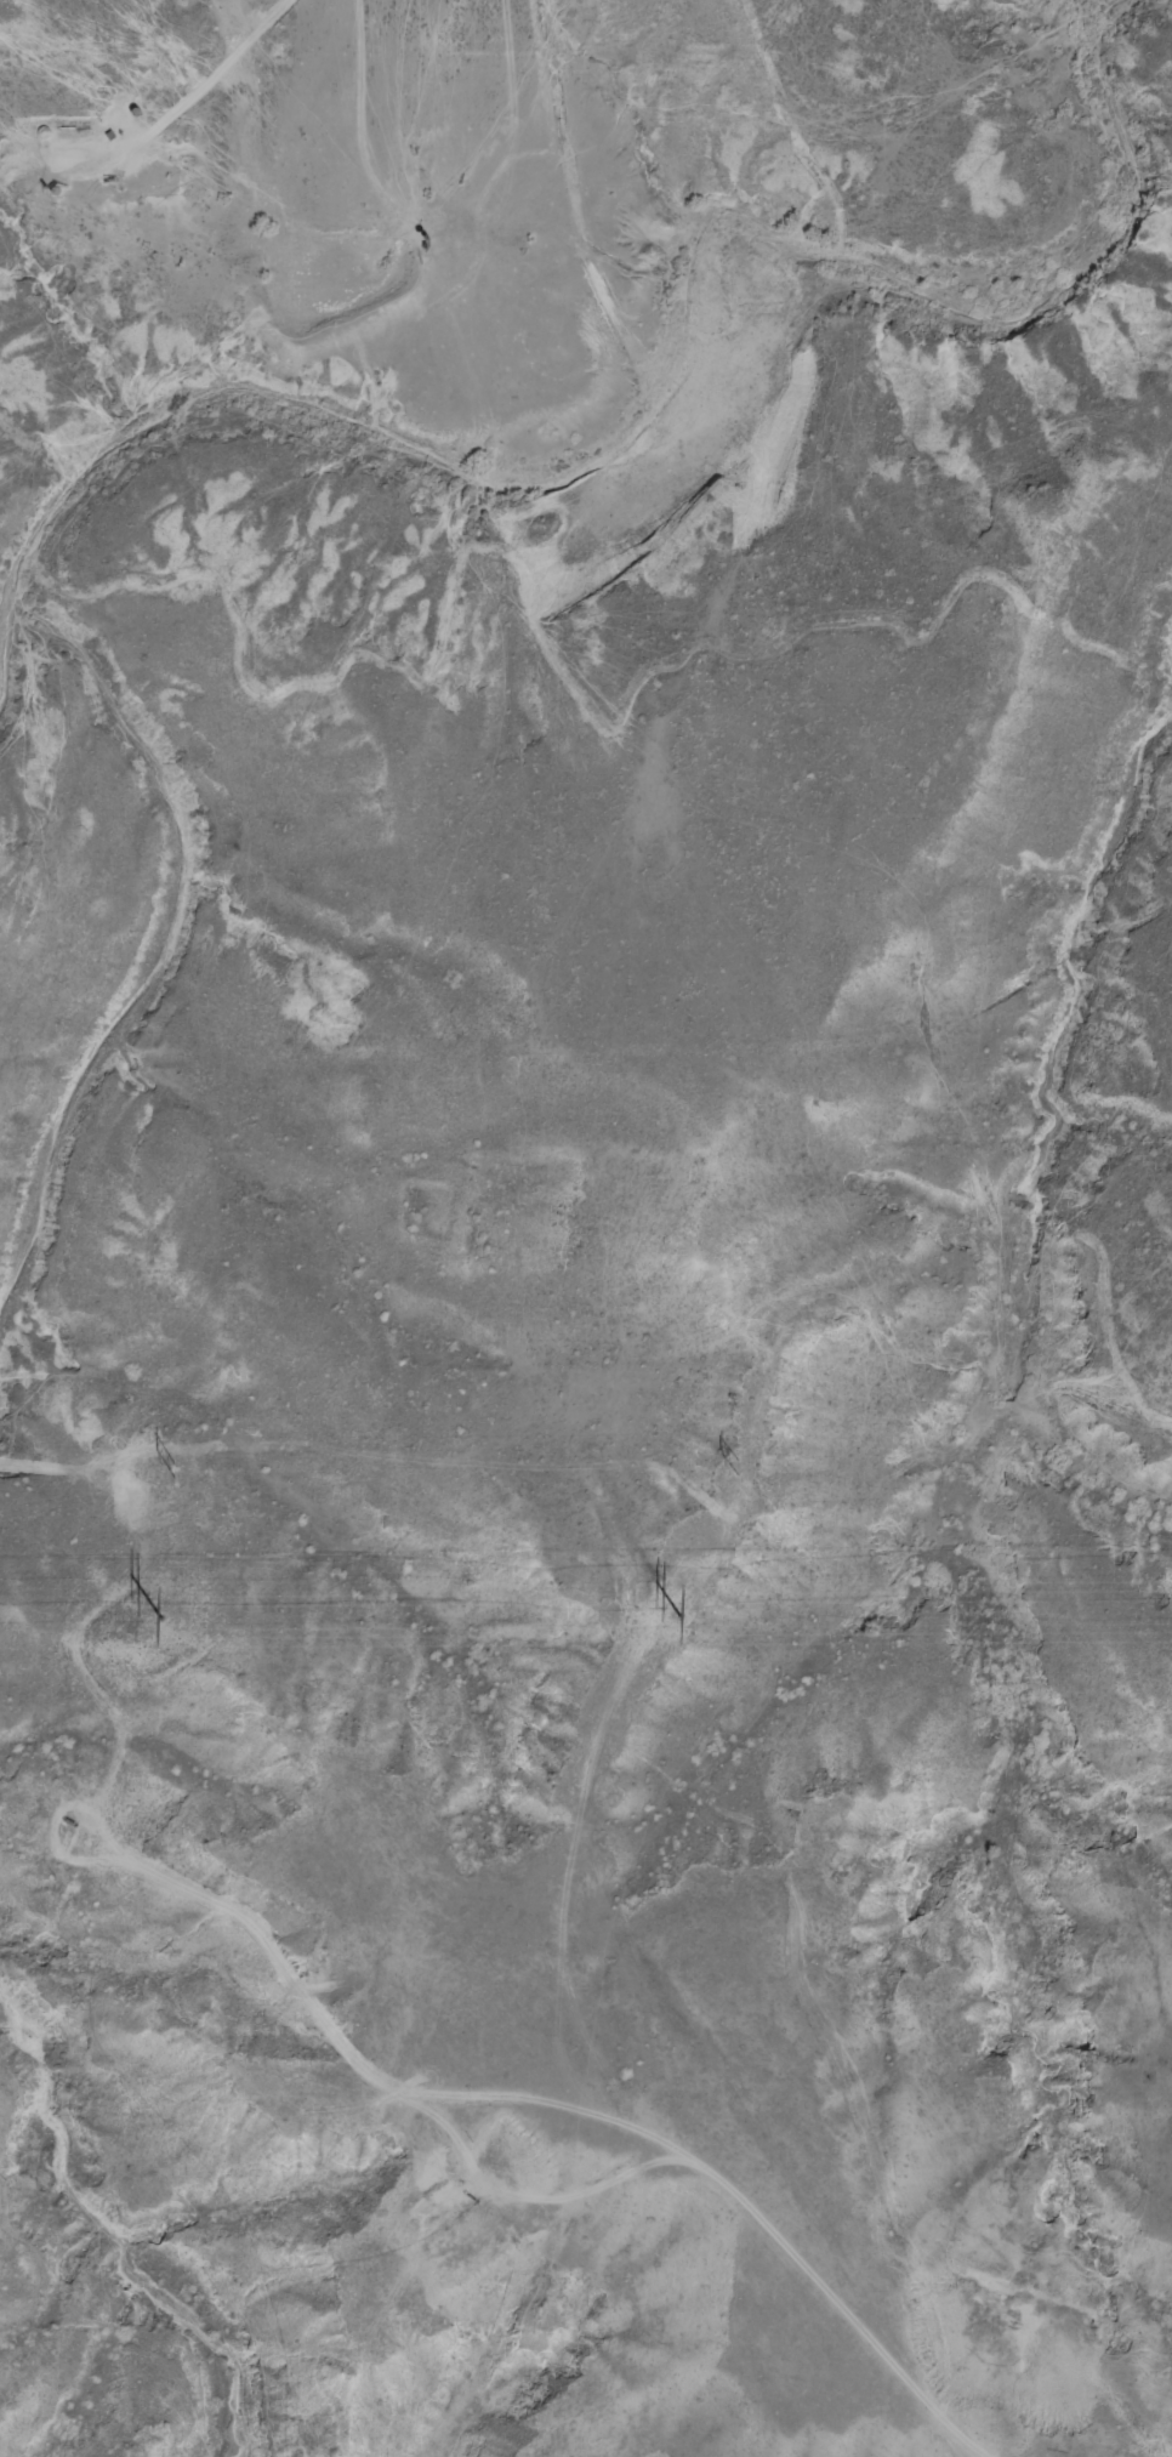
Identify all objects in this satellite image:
road: (370, 114)
power tower: (734, 1466)
power tower: (173, 1474)
power tower: (682, 1615)
power tower: (159, 1619)

